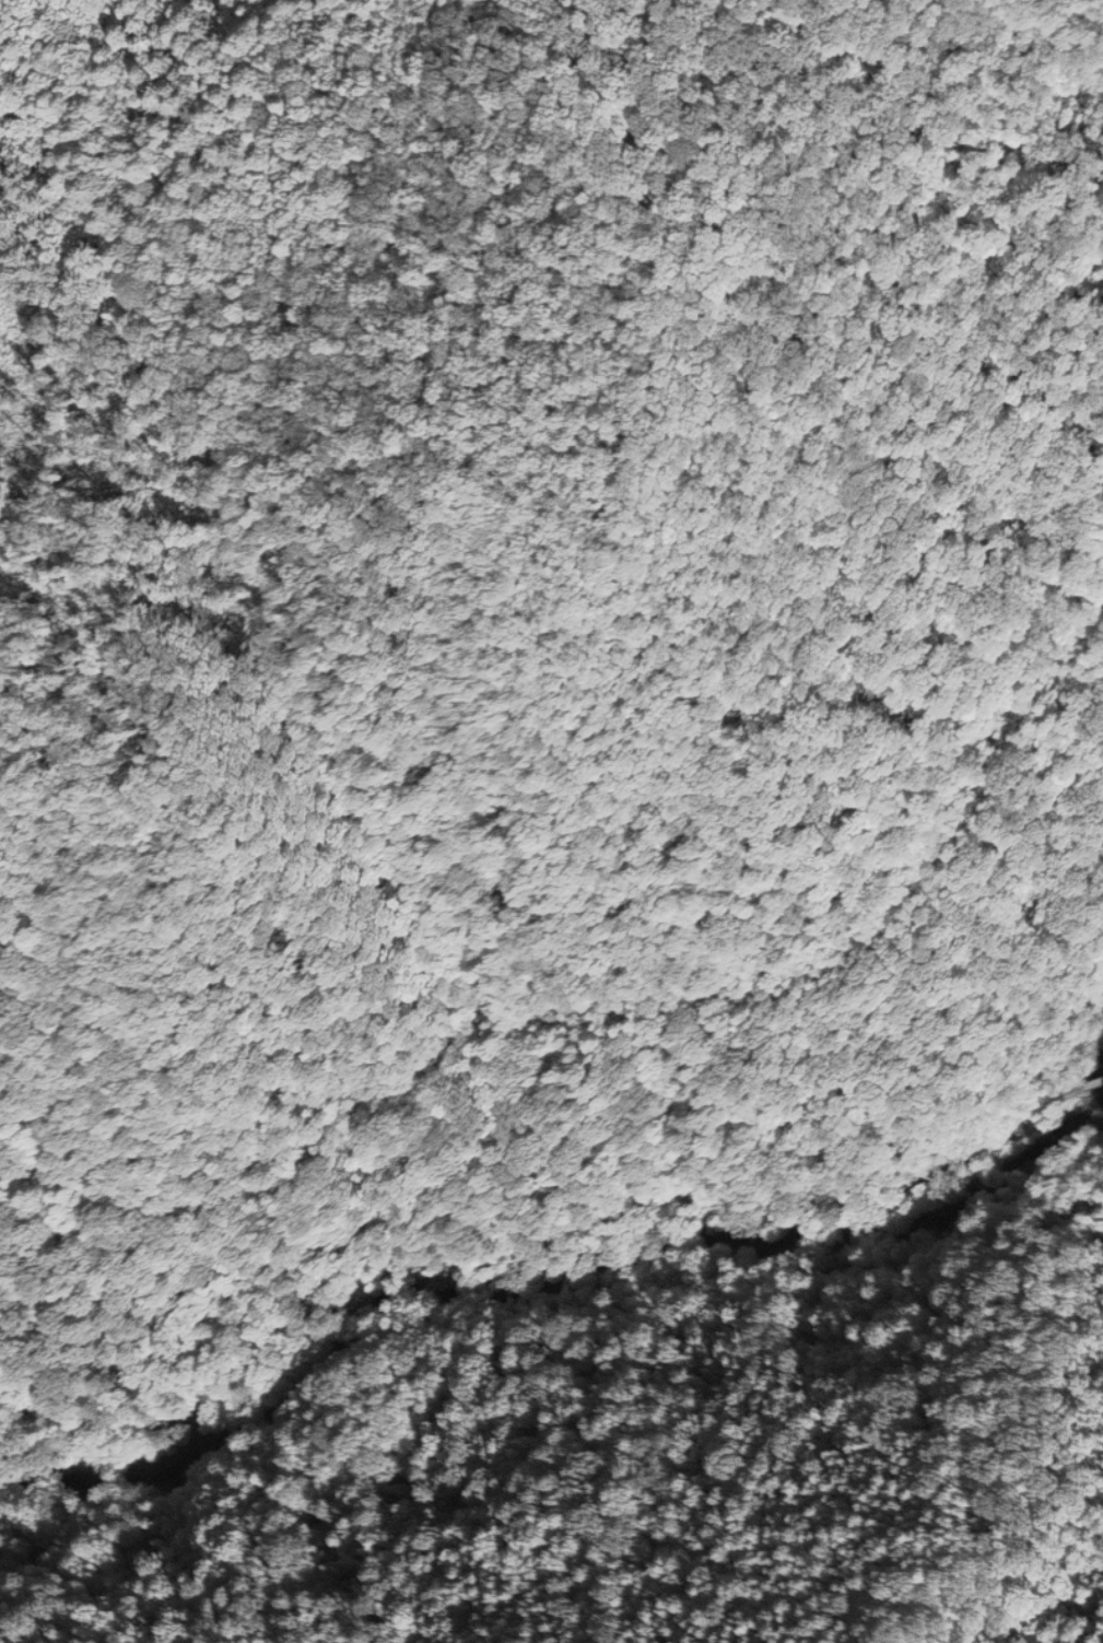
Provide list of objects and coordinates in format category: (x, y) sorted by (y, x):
road: (457, 1028)
building: (1094, 1079)
road: (1096, 1085)
road: (1078, 1091)
road: (525, 1253)

